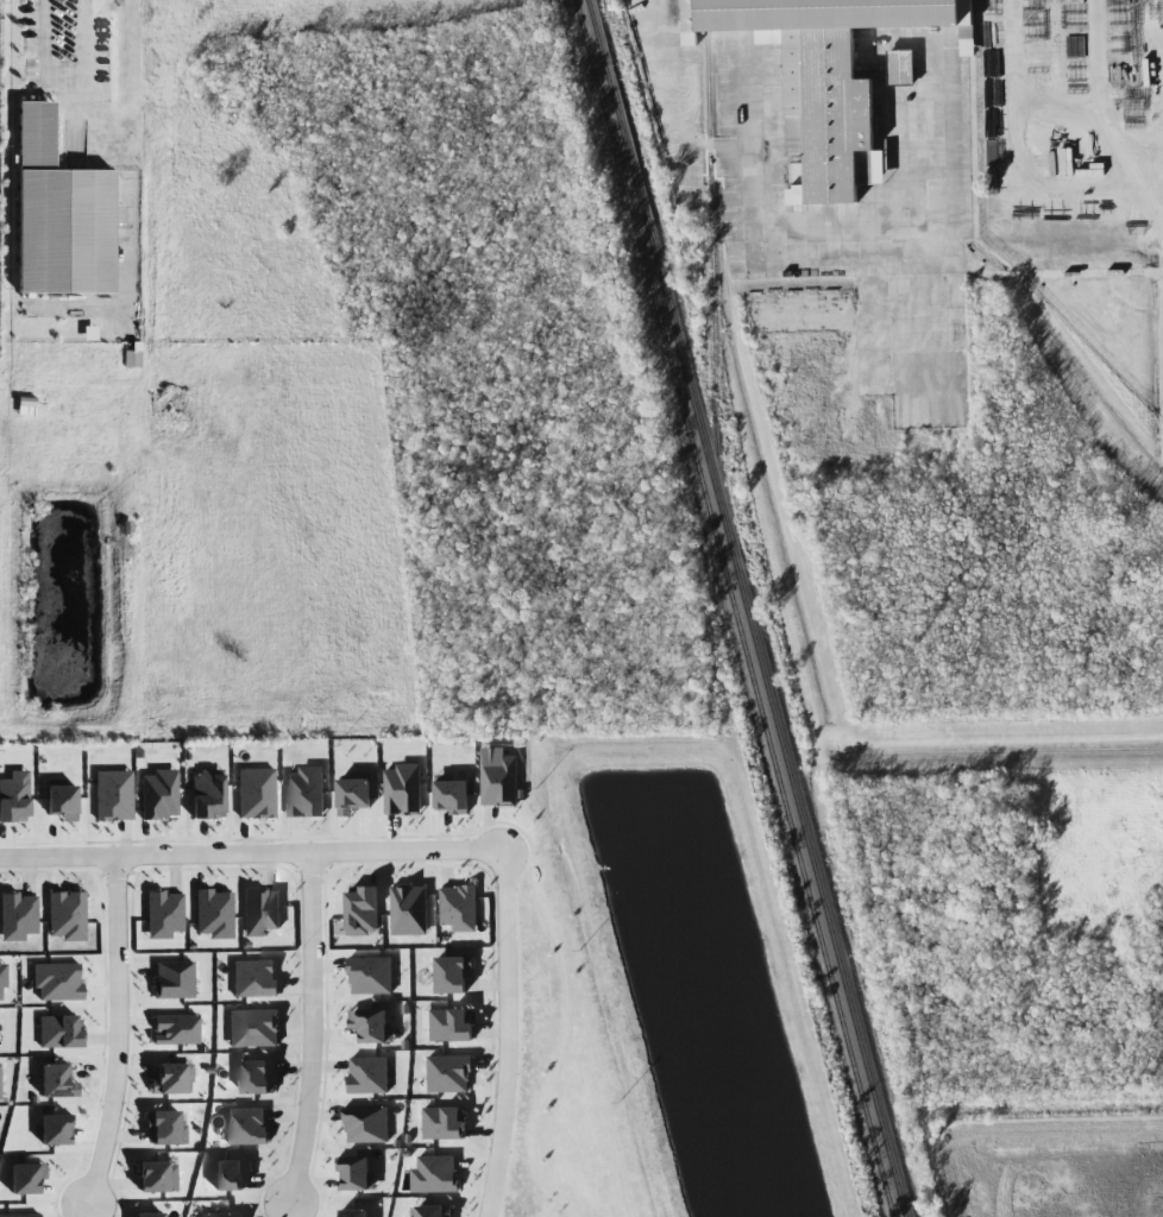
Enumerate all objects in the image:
road: (45, 46)
road: (82, 46)
building: (900, 68)
building: (829, 77)
road: (64, 93)
road: (1096, 108)
road: (1158, 119)
road: (1129, 139)
road: (1018, 158)
road: (125, 210)
building: (61, 215)
railway: (712, 229)
road: (73, 309)
building: (131, 359)
railway: (748, 608)
building: (499, 777)
building: (403, 790)
building: (256, 793)
building: (306, 793)
building: (159, 794)
building: (208, 794)
building: (113, 795)
building: (353, 795)
building: (14, 797)
building: (452, 797)
building: (62, 802)
road: (494, 828)
road: (252, 855)
building: (459, 908)
building: (260, 912)
building: (363, 912)
building: (409, 912)
building: (214, 913)
building: (164, 914)
building: (67, 915)
building: (18, 916)
building: (370, 976)
building: (453, 976)
building: (2, 978)
building: (254, 978)
building: (174, 979)
building: (57, 980)
road: (568, 1013)
building: (371, 1026)
building: (451, 1026)
building: (253, 1028)
building: (176, 1029)
road: (313, 1030)
building: (59, 1032)
road: (117, 1034)
road: (508, 1034)
building: (450, 1074)
building: (369, 1076)
building: (254, 1077)
building: (171, 1078)
building: (57, 1082)
building: (0, 1084)
building: (444, 1123)
building: (366, 1124)
building: (246, 1127)
building: (165, 1128)
building: (56, 1129)
building: (357, 1174)
building: (435, 1174)
building: (157, 1175)
building: (231, 1175)
building: (26, 1178)
road: (552, 1209)
road: (288, 1211)
building: (433, 1211)
road: (84, 1212)
building: (356, 1213)
building: (149, 1215)
building: (222, 1215)
building: (20, 1216)

